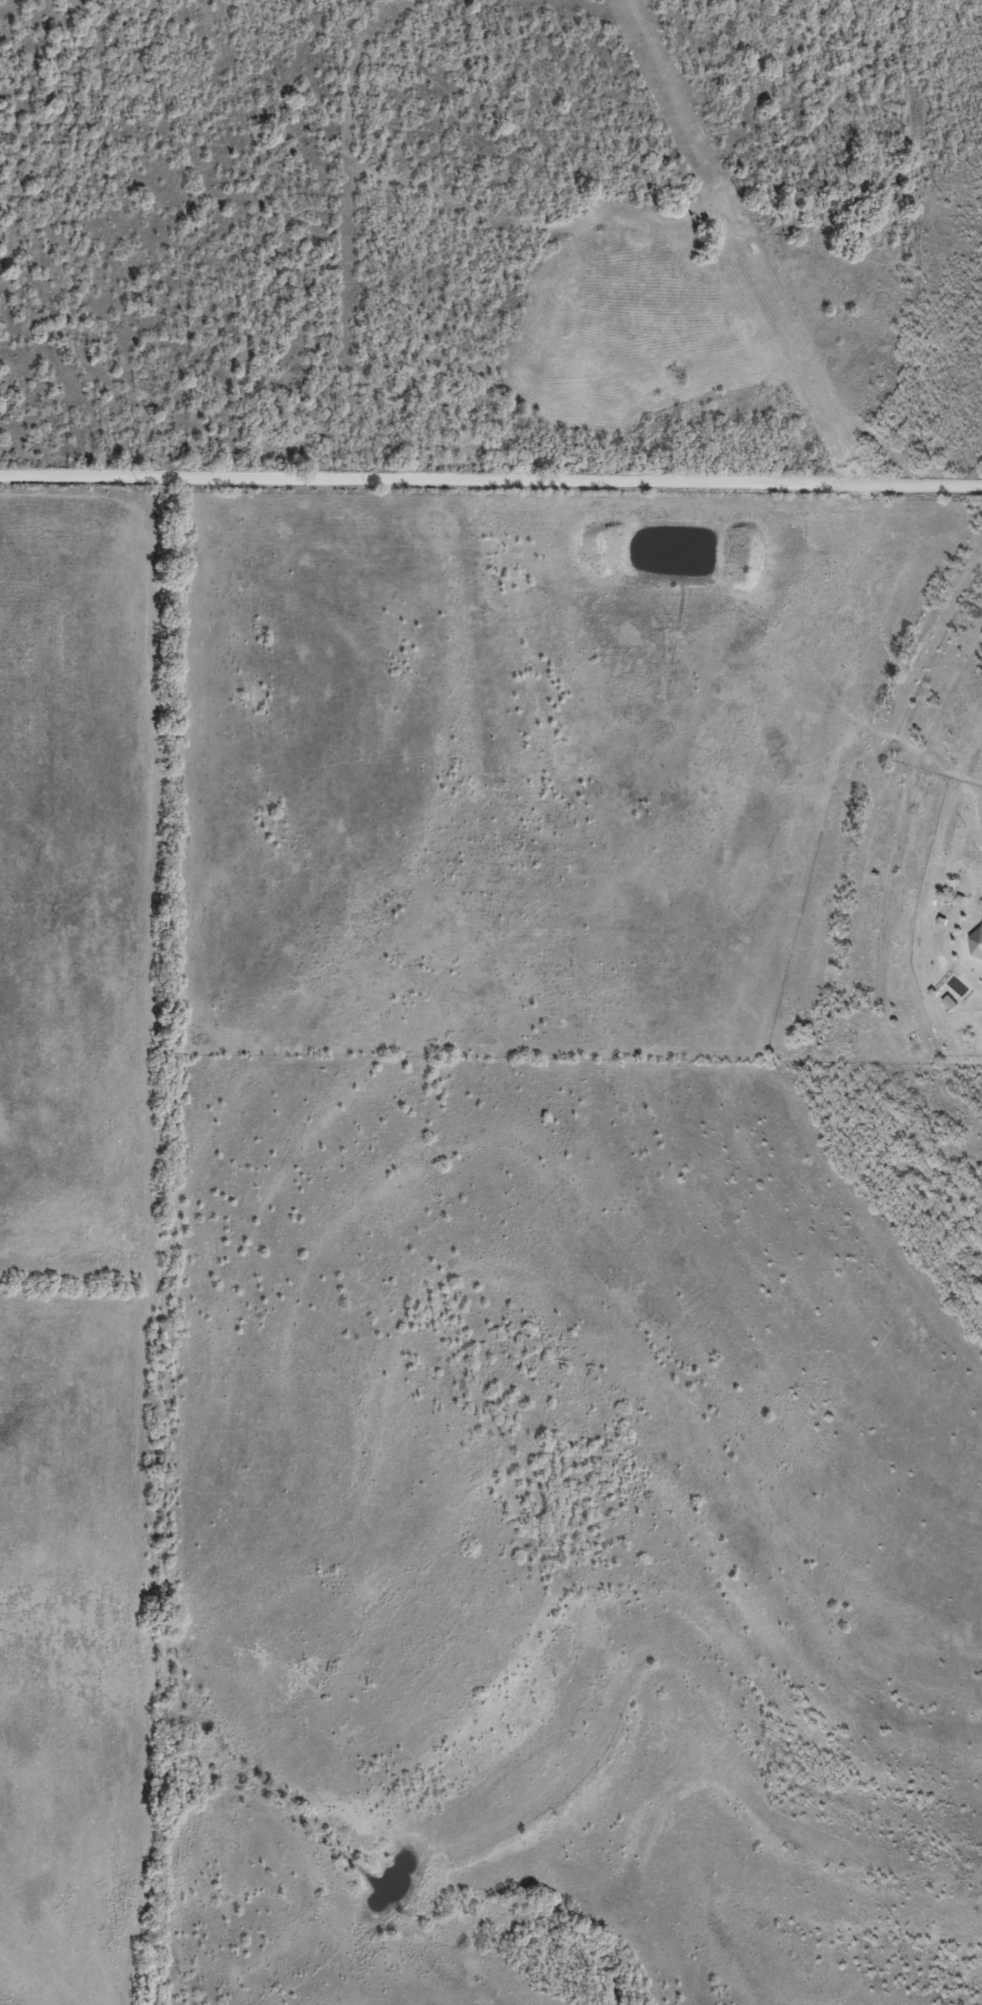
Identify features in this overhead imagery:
road: (491, 486)
building: (975, 951)

